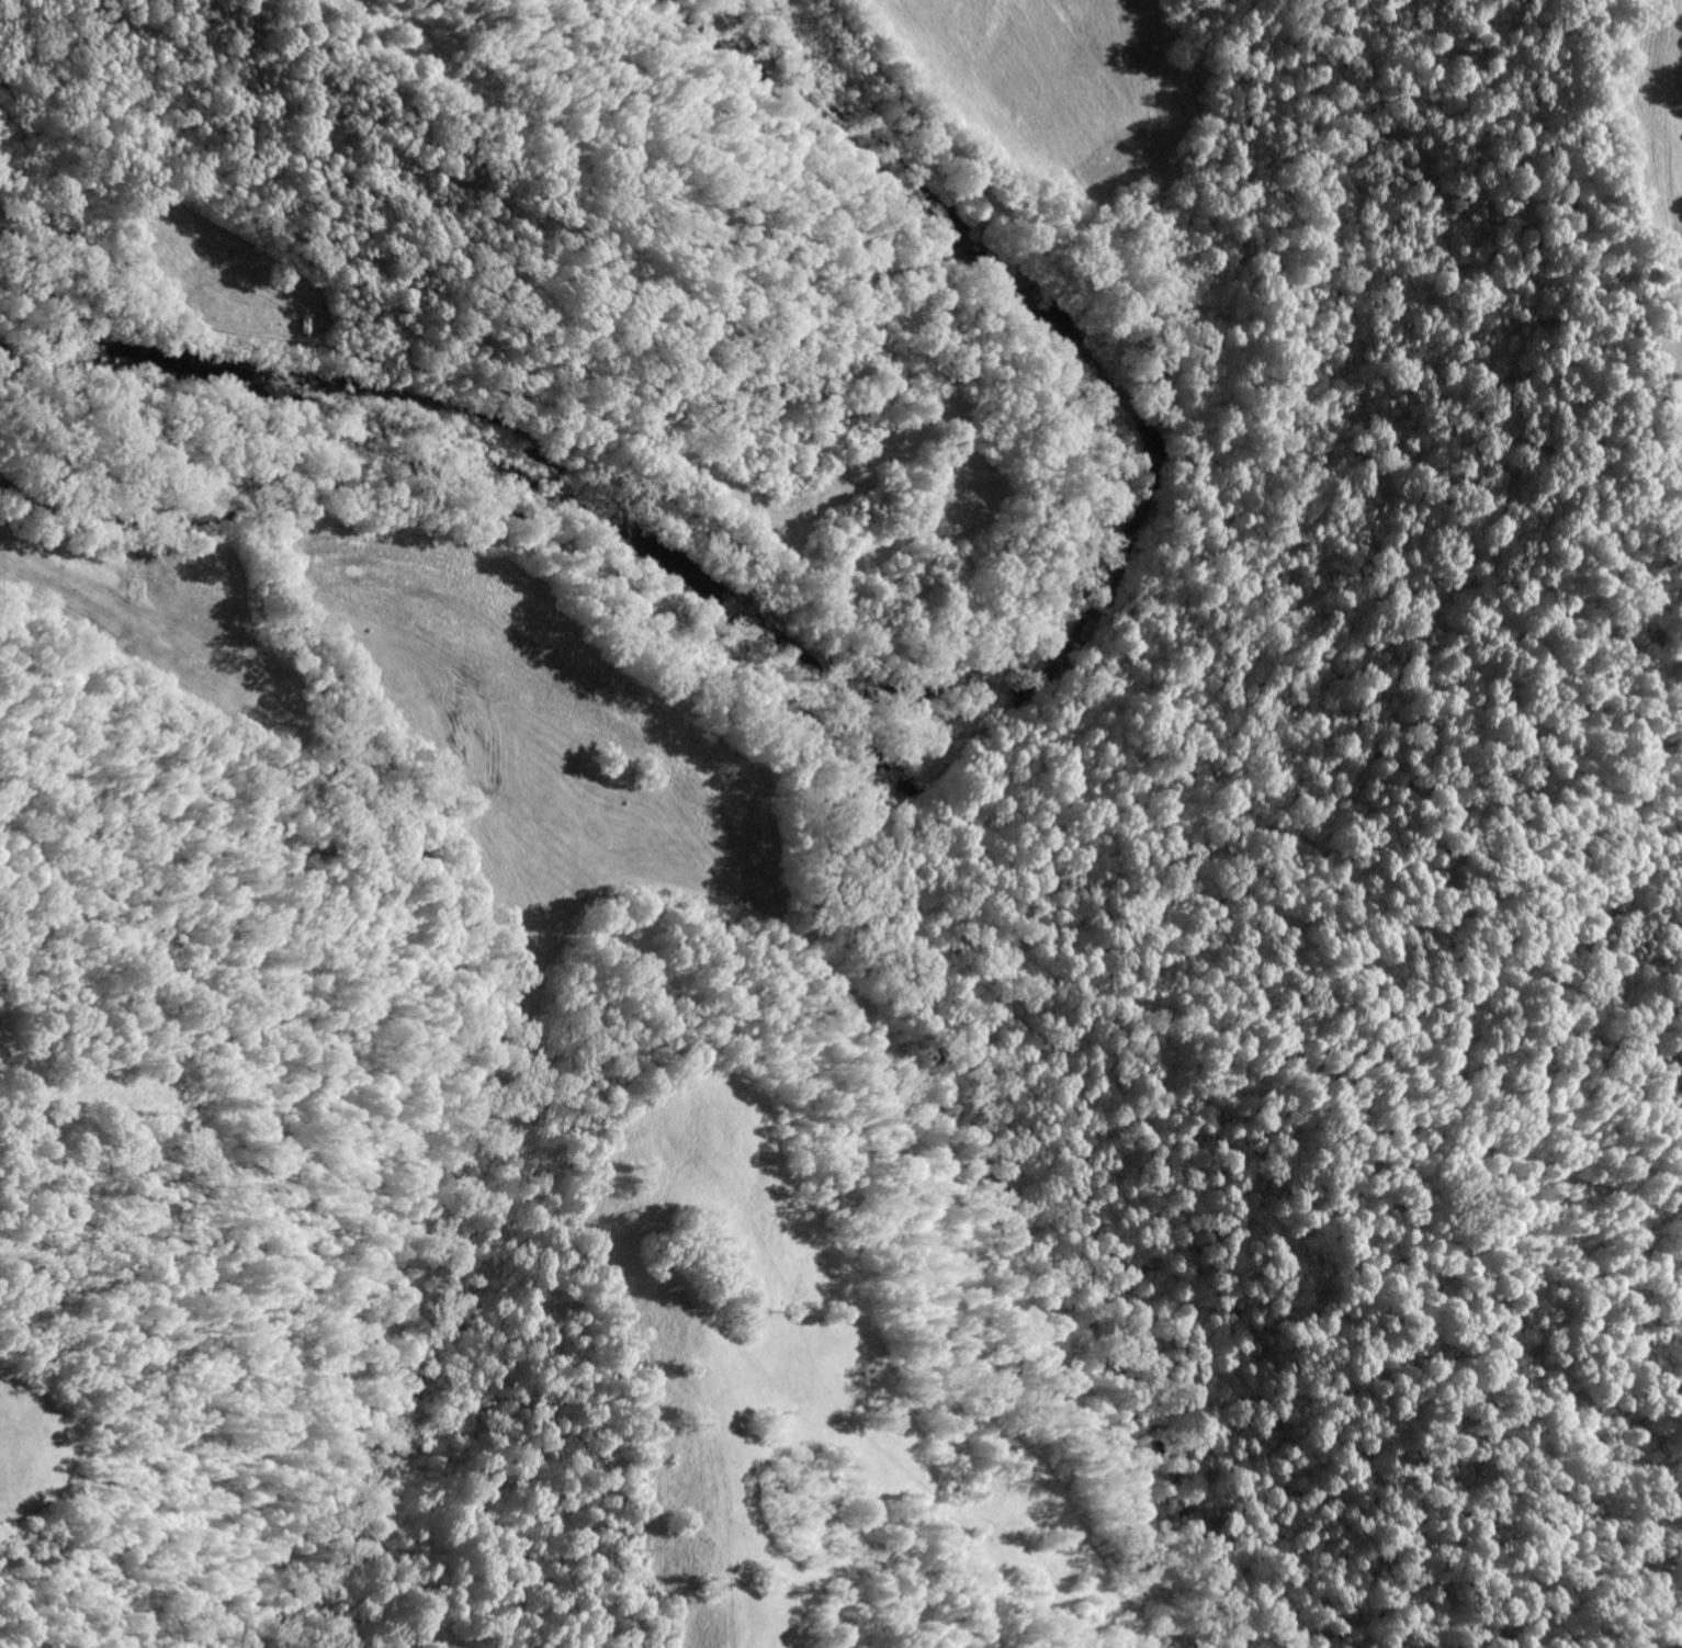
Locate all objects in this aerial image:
road: (584, 399)

